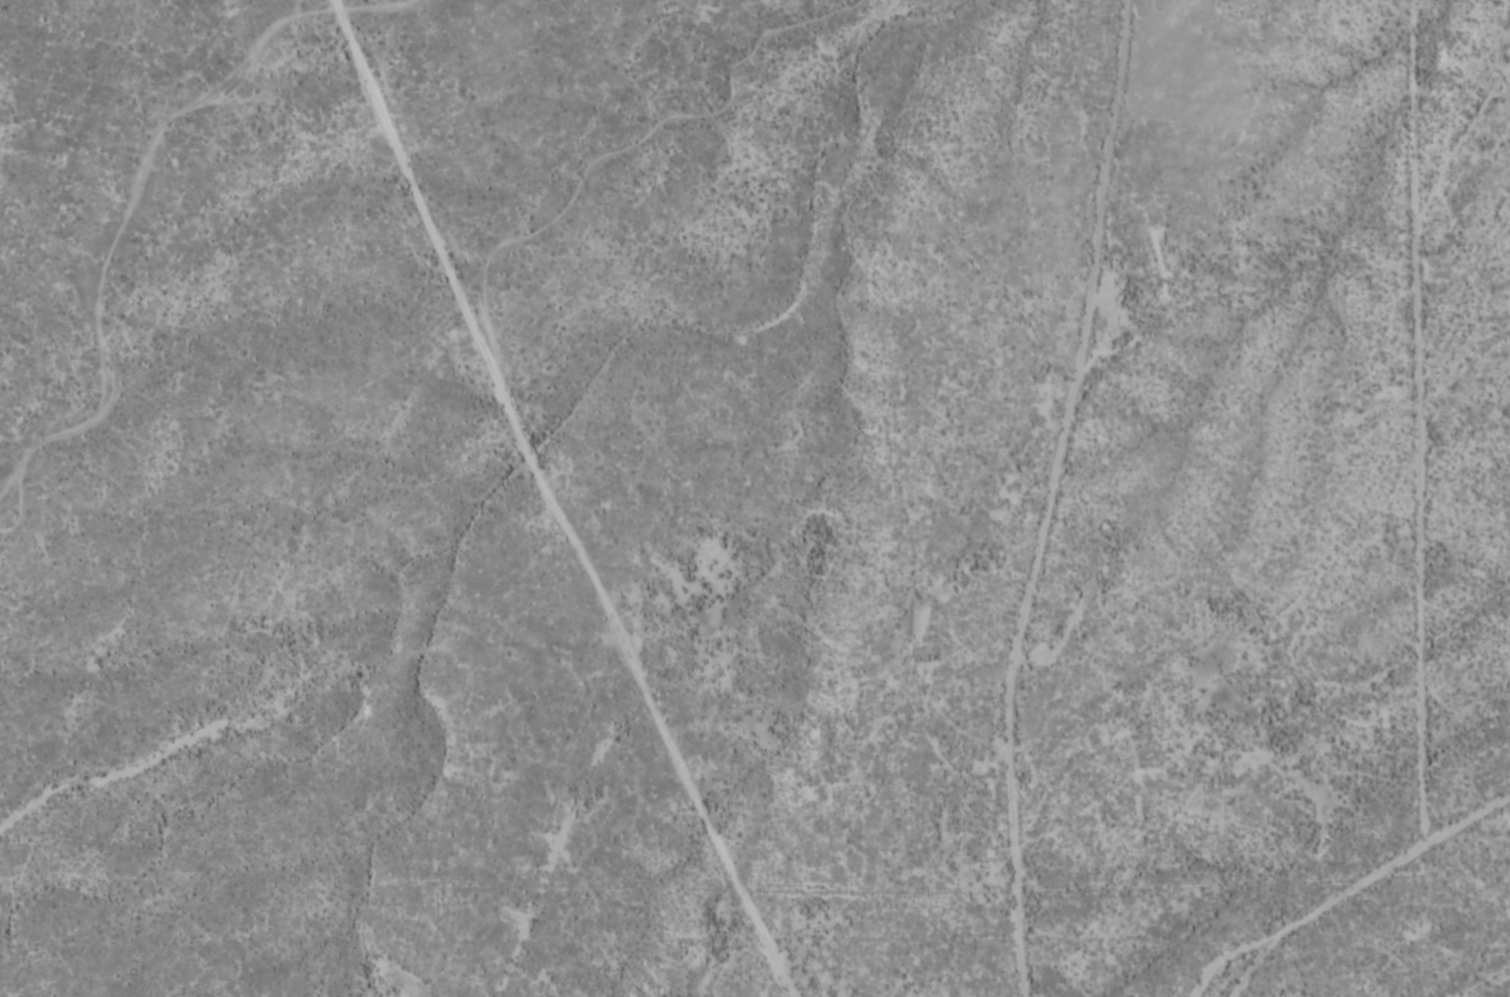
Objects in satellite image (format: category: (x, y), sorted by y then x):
road: (1060, 495)

